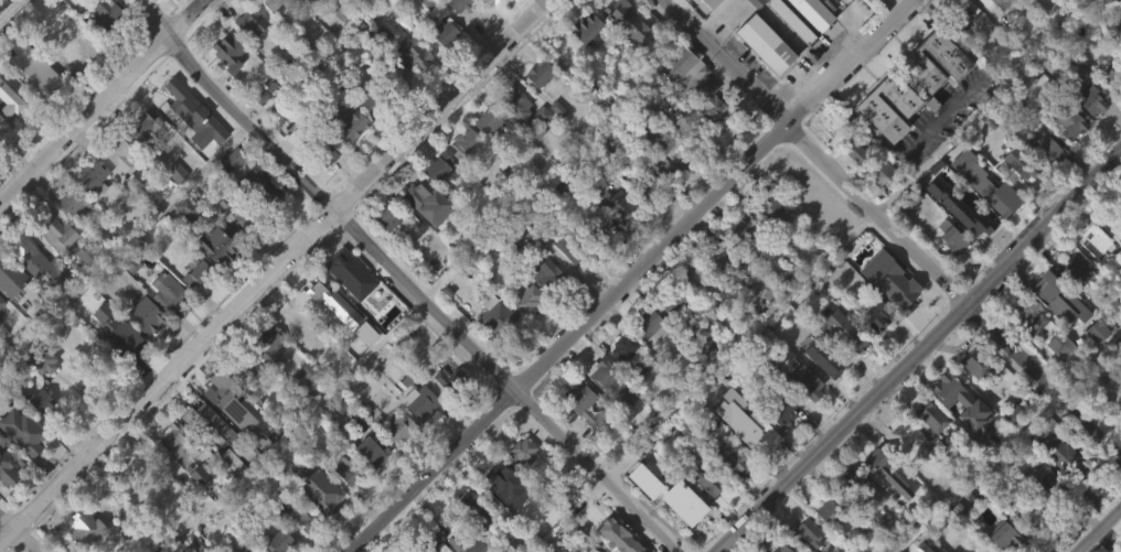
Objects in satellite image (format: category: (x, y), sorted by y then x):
building: (306, 1)
building: (276, 3)
building: (459, 3)
building: (1003, 3)
building: (515, 4)
building: (674, 6)
building: (867, 6)
road: (8, 7)
building: (436, 7)
building: (77, 11)
building: (105, 13)
building: (814, 13)
building: (292, 14)
building: (485, 14)
building: (252, 20)
building: (960, 20)
building: (792, 21)
building: (985, 25)
building: (587, 28)
building: (270, 31)
building: (444, 31)
building: (707, 33)
building: (426, 37)
building: (103, 45)
building: (337, 46)
building: (764, 46)
building: (564, 47)
building: (228, 51)
building: (414, 51)
building: (960, 51)
building: (786, 53)
building: (72, 54)
building: (623, 54)
building: (248, 56)
road: (311, 59)
building: (584, 64)
building: (439, 67)
building: (541, 72)
building: (396, 74)
building: (1114, 76)
building: (761, 78)
building: (695, 83)
building: (909, 84)
building: (224, 86)
building: (412, 86)
building: (70, 90)
building: (931, 96)
building: (376, 98)
building: (1091, 98)
road: (100, 99)
building: (171, 99)
building: (515, 99)
building: (29, 101)
building: (394, 108)
building: (691, 119)
building: (8, 120)
building: (342, 120)
building: (1071, 120)
building: (489, 121)
building: (145, 125)
building: (260, 125)
building: (1090, 132)
building: (167, 136)
building: (369, 138)
building: (513, 139)
building: (465, 142)
building: (554, 142)
building: (7, 145)
road: (921, 145)
building: (1044, 147)
building: (323, 148)
building: (538, 149)
building: (857, 149)
road: (816, 150)
building: (119, 152)
building: (876, 152)
building: (484, 155)
building: (1065, 155)
building: (349, 158)
building: (670, 158)
building: (140, 160)
building: (1021, 164)
building: (437, 165)
building: (878, 171)
building: (92, 174)
building: (460, 175)
building: (649, 182)
building: (1039, 182)
building: (850, 186)
building: (140, 187)
building: (117, 190)
building: (323, 190)
building: (231, 192)
building: (269, 193)
building: (666, 196)
building: (72, 199)
building: (1016, 199)
building: (425, 203)
building: (619, 204)
building: (171, 205)
building: (875, 206)
building: (89, 210)
building: (770, 212)
building: (186, 213)
building: (234, 215)
building: (385, 218)
building: (982, 219)
building: (137, 221)
building: (263, 224)
road: (1045, 226)
building: (600, 229)
building: (57, 232)
building: (751, 235)
building: (424, 236)
building: (953, 236)
building: (613, 238)
building: (102, 240)
building: (1097, 240)
building: (182, 241)
building: (217, 245)
building: (768, 246)
building: (568, 249)
building: (383, 251)
building: (719, 255)
building: (38, 260)
building: (606, 264)
road: (274, 269)
building: (343, 269)
building: (744, 270)
building: (946, 271)
building: (1072, 272)
building: (197, 273)
building: (693, 273)
road: (633, 277)
building: (548, 278)
road: (404, 280)
building: (565, 282)
building: (1, 288)
building: (900, 288)
building: (81, 289)
building: (712, 290)
building: (168, 292)
building: (31, 293)
building: (527, 299)
building: (674, 300)
building: (1050, 305)
building: (1072, 305)
building: (346, 307)
building: (193, 309)
building: (687, 309)
building: (543, 310)
building: (8, 313)
building: (148, 314)
building: (875, 317)
building: (1031, 317)
building: (498, 318)
building: (292, 321)
building: (110, 322)
building: (651, 326)
building: (164, 327)
building: (842, 328)
building: (523, 334)
building: (670, 336)
building: (0, 337)
building: (331, 338)
building: (270, 343)
road: (740, 345)
building: (1061, 345)
building: (624, 346)
building: (143, 350)
building: (492, 351)
building: (872, 353)
building: (1023, 353)
building: (105, 355)
building: (291, 357)
building: (45, 360)
building: (822, 360)
building: (648, 361)
building: (979, 364)
building: (1091, 366)
building: (246, 367)
building: (363, 367)
building: (841, 367)
road: (1045, 378)
building: (265, 379)
building: (449, 382)
building: (609, 383)
building: (804, 383)
building: (223, 389)
building: (973, 399)
building: (40, 400)
building: (420, 400)
building: (580, 403)
building: (305, 408)
building: (782, 411)
building: (802, 415)
building: (931, 415)
building: (607, 419)
building: (211, 424)
building: (399, 427)
road: (843, 427)
building: (1044, 430)
building: (25, 433)
building: (174, 435)
building: (418, 436)
building: (900, 436)
building: (581, 439)
building: (959, 440)
building: (778, 444)
building: (1008, 446)
building: (373, 451)
building: (522, 451)
building: (926, 452)
building: (207, 457)
building: (1066, 459)
building: (730, 461)
building: (396, 462)
building: (8, 465)
building: (1038, 465)
building: (349, 469)
building: (895, 472)
building: (882, 473)
building: (169, 476)
building: (1048, 479)
building: (705, 481)
building: (856, 481)
building: (367, 484)
building: (243, 487)
building: (321, 490)
building: (517, 493)
building: (729, 493)
building: (228, 496)
building: (8, 501)
building: (343, 504)
building: (474, 507)
building: (196, 508)
building: (825, 508)
building: (885, 510)
building: (1037, 511)
building: (298, 515)
building: (640, 515)
building: (853, 516)
building: (705, 517)
building: (84, 526)
road: (1100, 531)
road: (21, 534)
building: (679, 534)
building: (809, 534)
building: (1003, 535)
building: (622, 540)
building: (153, 541)
building: (279, 541)
building: (468, 543)
building: (1025, 543)
building: (430, 544)
building: (293, 545)
building: (76, 548)
building: (250, 548)
building: (872, 548)
building: (782, 549)
building: (986, 550)
building: (92, 551)
building: (404, 551)
building: (801, 551)

